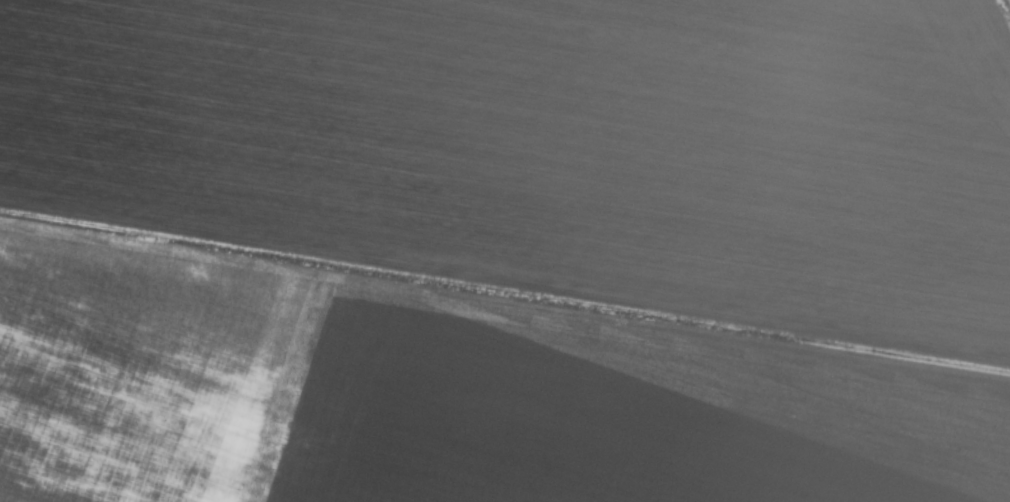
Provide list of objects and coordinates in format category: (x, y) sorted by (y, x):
crop: (504, 251)

